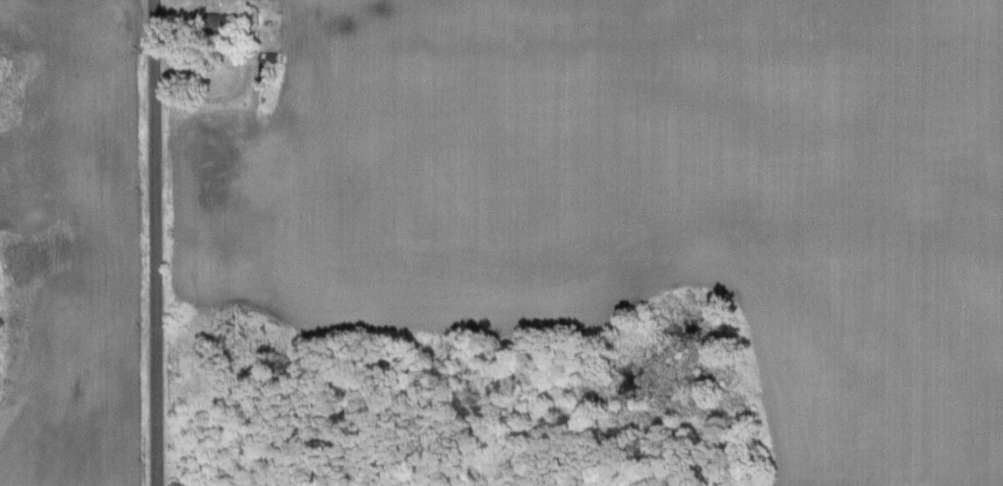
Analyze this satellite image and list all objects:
building: (219, 23)
road: (156, 243)

